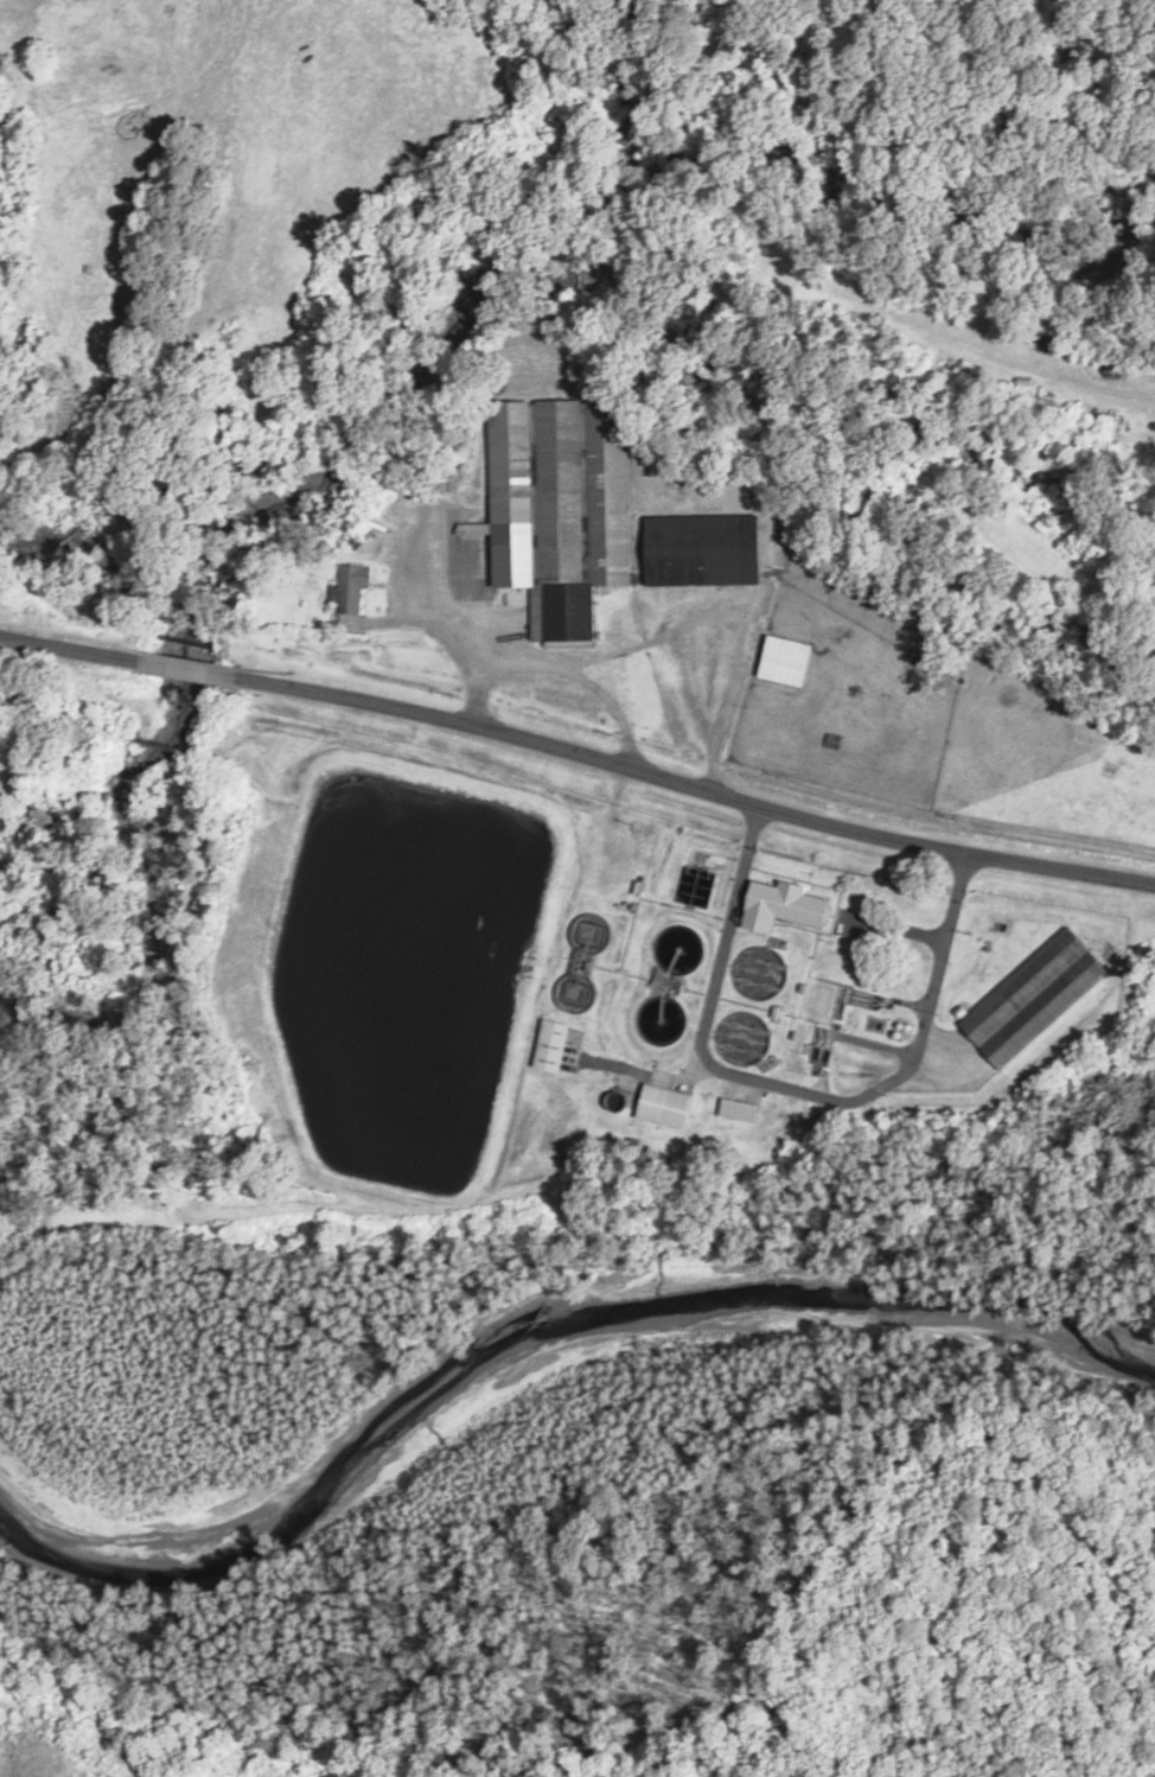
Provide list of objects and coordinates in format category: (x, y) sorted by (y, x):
building: (561, 508)
building: (353, 587)
building: (787, 661)
road: (577, 756)
building: (1115, 770)
building: (789, 905)
building: (1080, 953)
wastewater plant: (604, 983)
building: (668, 1106)
river: (555, 1402)

